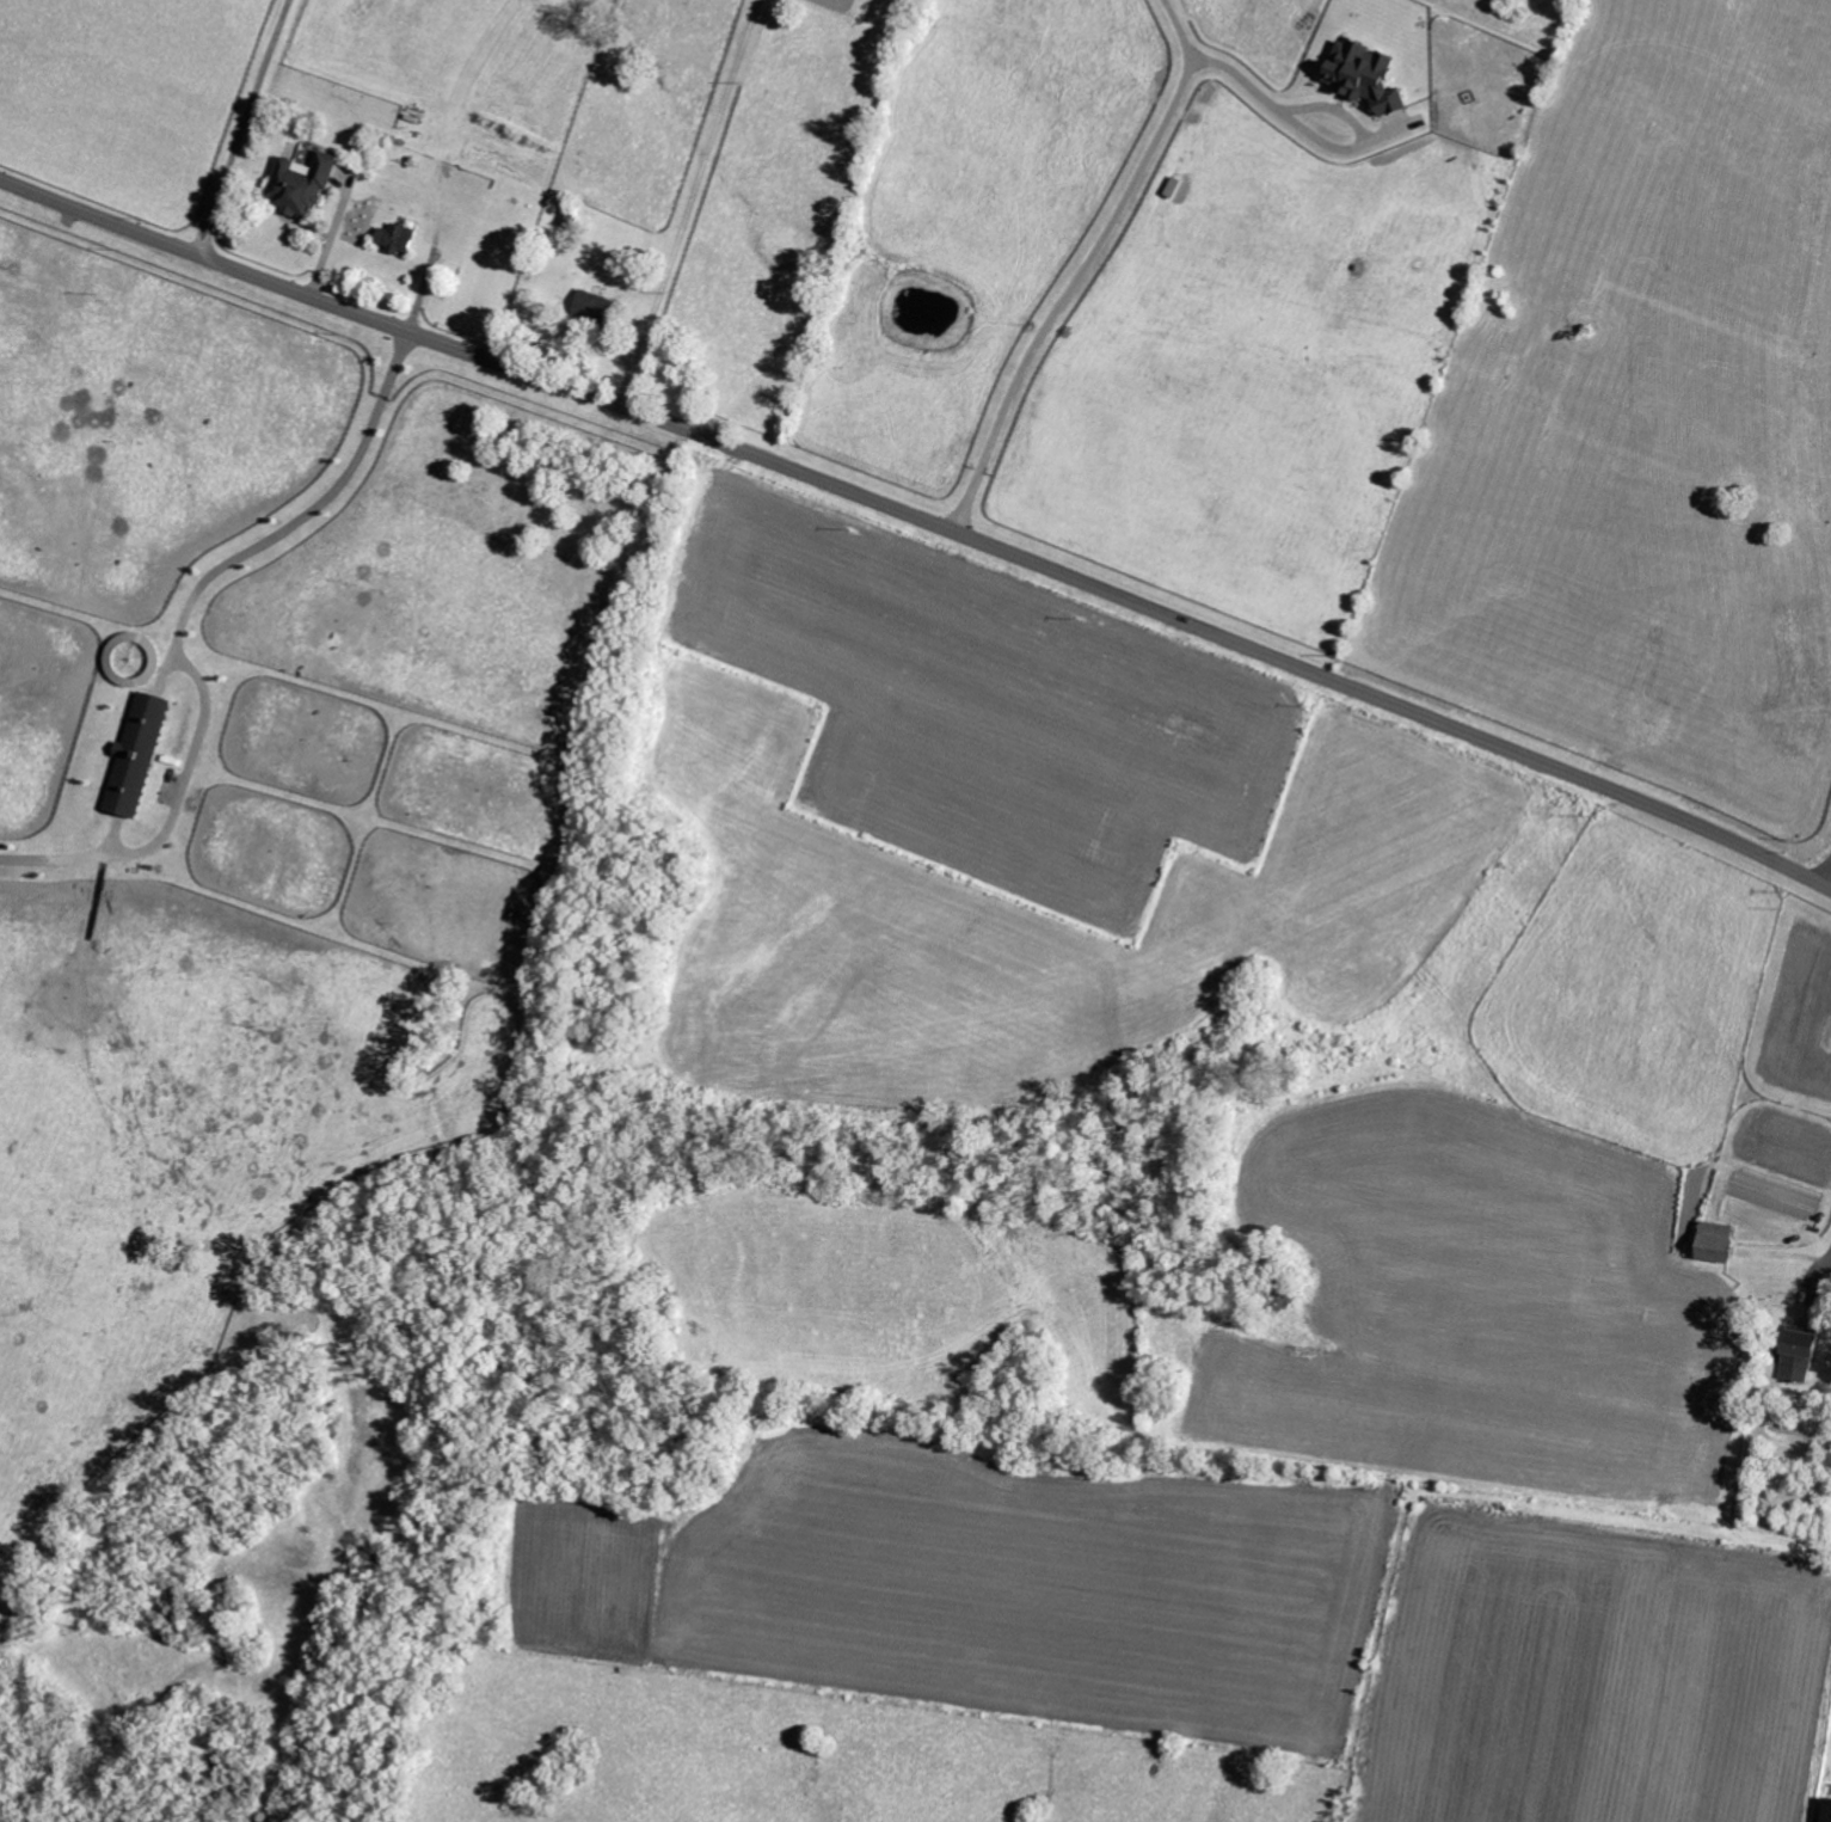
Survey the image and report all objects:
building: (1365, 75)
road: (1321, 111)
road: (244, 127)
building: (302, 182)
road: (689, 202)
building: (397, 237)
road: (1086, 264)
building: (596, 306)
road: (921, 516)
road: (180, 631)
building: (136, 754)
building: (1716, 1241)
building: (1800, 1354)
building: (1827, 1811)

